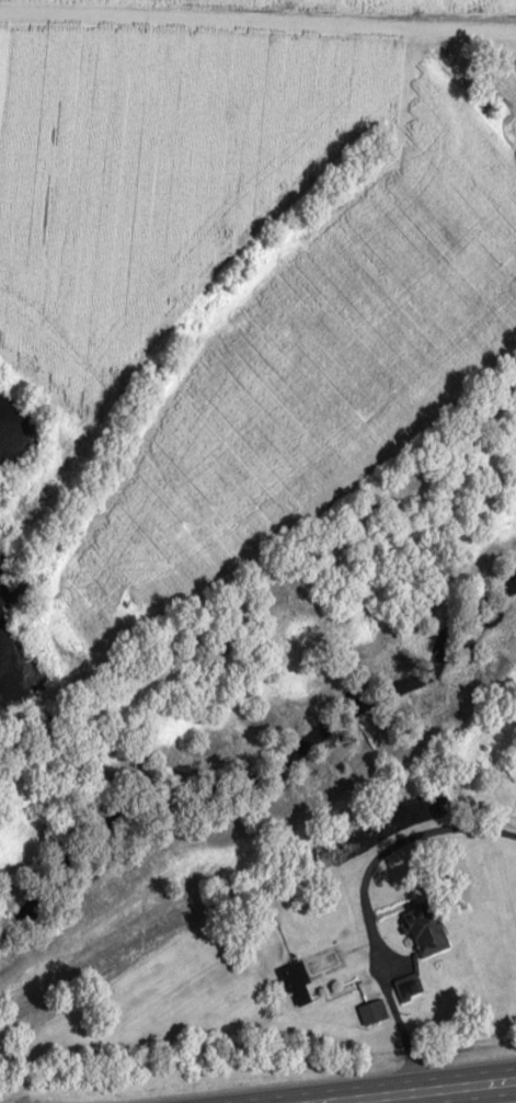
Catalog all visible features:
road: (257, 10)
building: (427, 929)
building: (297, 981)
road: (369, 1085)

